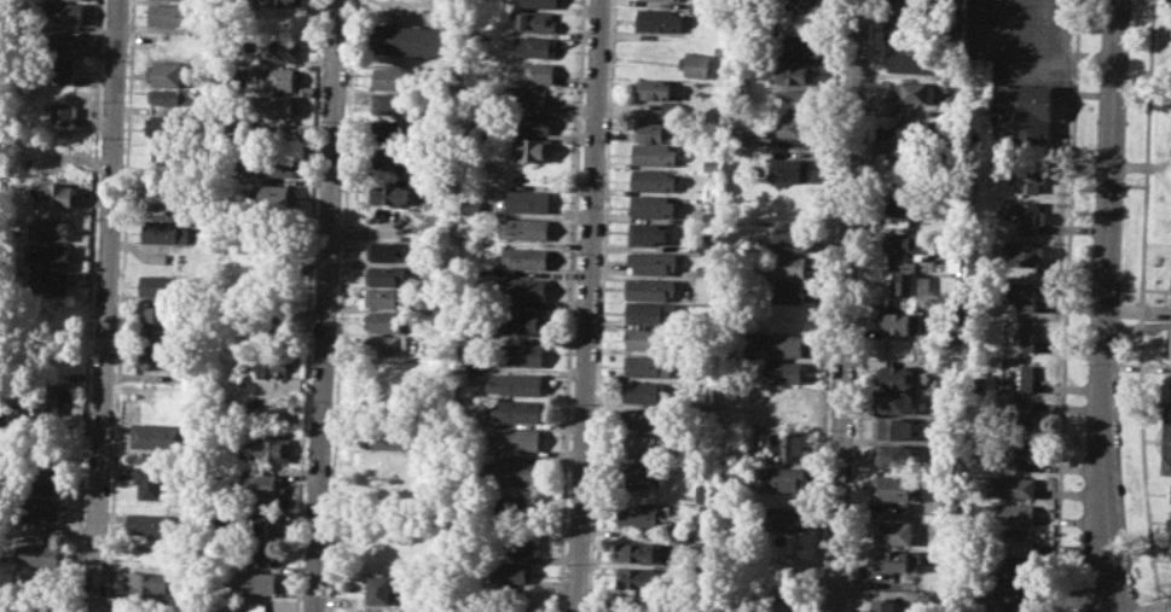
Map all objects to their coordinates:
building: (666, 0)
building: (793, 2)
building: (282, 4)
building: (539, 4)
building: (911, 7)
building: (64, 13)
building: (168, 13)
building: (656, 19)
building: (534, 22)
building: (910, 34)
building: (410, 40)
parking lot: (1018, 41)
building: (64, 43)
building: (799, 43)
building: (535, 47)
building: (279, 49)
building: (719, 49)
building: (912, 62)
building: (694, 64)
building: (64, 71)
building: (167, 71)
building: (531, 72)
building: (793, 72)
building: (734, 76)
building: (280, 77)
building: (393, 78)
street lamp: (1096, 87)
building: (651, 89)
building: (916, 92)
building: (173, 95)
building: (793, 99)
building: (392, 103)
building: (279, 105)
building: (63, 111)
building: (1024, 112)
building: (531, 122)
building: (166, 126)
building: (792, 126)
building: (653, 130)
building: (918, 130)
building: (392, 132)
building: (532, 147)
building: (50, 152)
building: (168, 152)
building: (653, 153)
building: (390, 157)
building: (712, 164)
building: (274, 165)
building: (789, 169)
building: (1026, 175)
building: (653, 180)
street lamp: (1094, 180)
building: (167, 190)
building: (52, 193)
building: (278, 194)
building: (389, 194)
building: (523, 200)
building: (471, 205)
building: (909, 205)
building: (653, 206)
building: (1026, 215)
building: (429, 221)
building: (51, 228)
building: (524, 228)
building: (163, 231)
building: (647, 233)
building: (466, 239)
building: (789, 239)
building: (905, 241)
building: (389, 250)
building: (47, 253)
building: (1024, 253)
building: (156, 257)
building: (524, 257)
building: (650, 261)
building: (956, 261)
building: (787, 266)
building: (385, 274)
street lamp: (1089, 278)
building: (48, 281)
building: (910, 282)
building: (162, 285)
building: (706, 285)
building: (1170, 286)
building: (649, 288)
building: (521, 290)
building: (788, 291)
building: (1020, 292)
building: (387, 297)
building: (442, 303)
road: (105, 305)
road: (326, 305)
road: (587, 305)
road: (601, 305)
road: (847, 305)
road: (860, 305)
road: (1065, 305)
road: (1107, 305)
road: (1140, 305)
building: (647, 311)
building: (161, 316)
building: (387, 320)
building: (523, 322)
building: (902, 322)
building: (1024, 337)
building: (648, 338)
building: (1167, 343)
building: (388, 345)
building: (779, 345)
building: (153, 354)
building: (521, 355)
building: (269, 360)
street lamp: (1085, 363)
building: (647, 365)
building: (464, 369)
building: (782, 372)
building: (898, 377)
building: (1022, 377)
building: (1170, 383)
building: (516, 384)
building: (643, 391)
building: (45, 397)
building: (893, 402)
building: (518, 410)
building: (1022, 416)
building: (643, 418)
building: (893, 429)
building: (158, 433)
building: (388, 437)
building: (516, 437)
building: (1166, 441)
building: (784, 444)
building: (642, 445)
building: (263, 449)
street lamp: (1082, 453)
building: (892, 454)
building: (1019, 454)
building: (516, 473)
building: (638, 474)
building: (781, 479)
building: (39, 480)
building: (151, 482)
building: (262, 484)
building: (894, 485)
building: (1014, 485)
building: (702, 492)
building: (1170, 492)
building: (517, 508)
building: (41, 509)
building: (638, 513)
building: (1013, 513)
building: (783, 518)
building: (151, 524)
building: (1167, 524)
building: (261, 529)
building: (892, 532)
street lamp: (1079, 536)
building: (1011, 540)
building: (515, 544)
building: (1170, 549)
building: (637, 550)
building: (40, 554)
building: (262, 556)
building: (895, 559)
building: (509, 571)
building: (1010, 575)
road: (1095, 577)
building: (633, 578)
building: (146, 582)
building: (254, 582)
building: (382, 585)
building: (510, 598)
building: (981, 601)
building: (632, 602)
building: (781, 605)
building: (881, 605)
building: (256, 606)
building: (1013, 607)
building: (363, 611)

